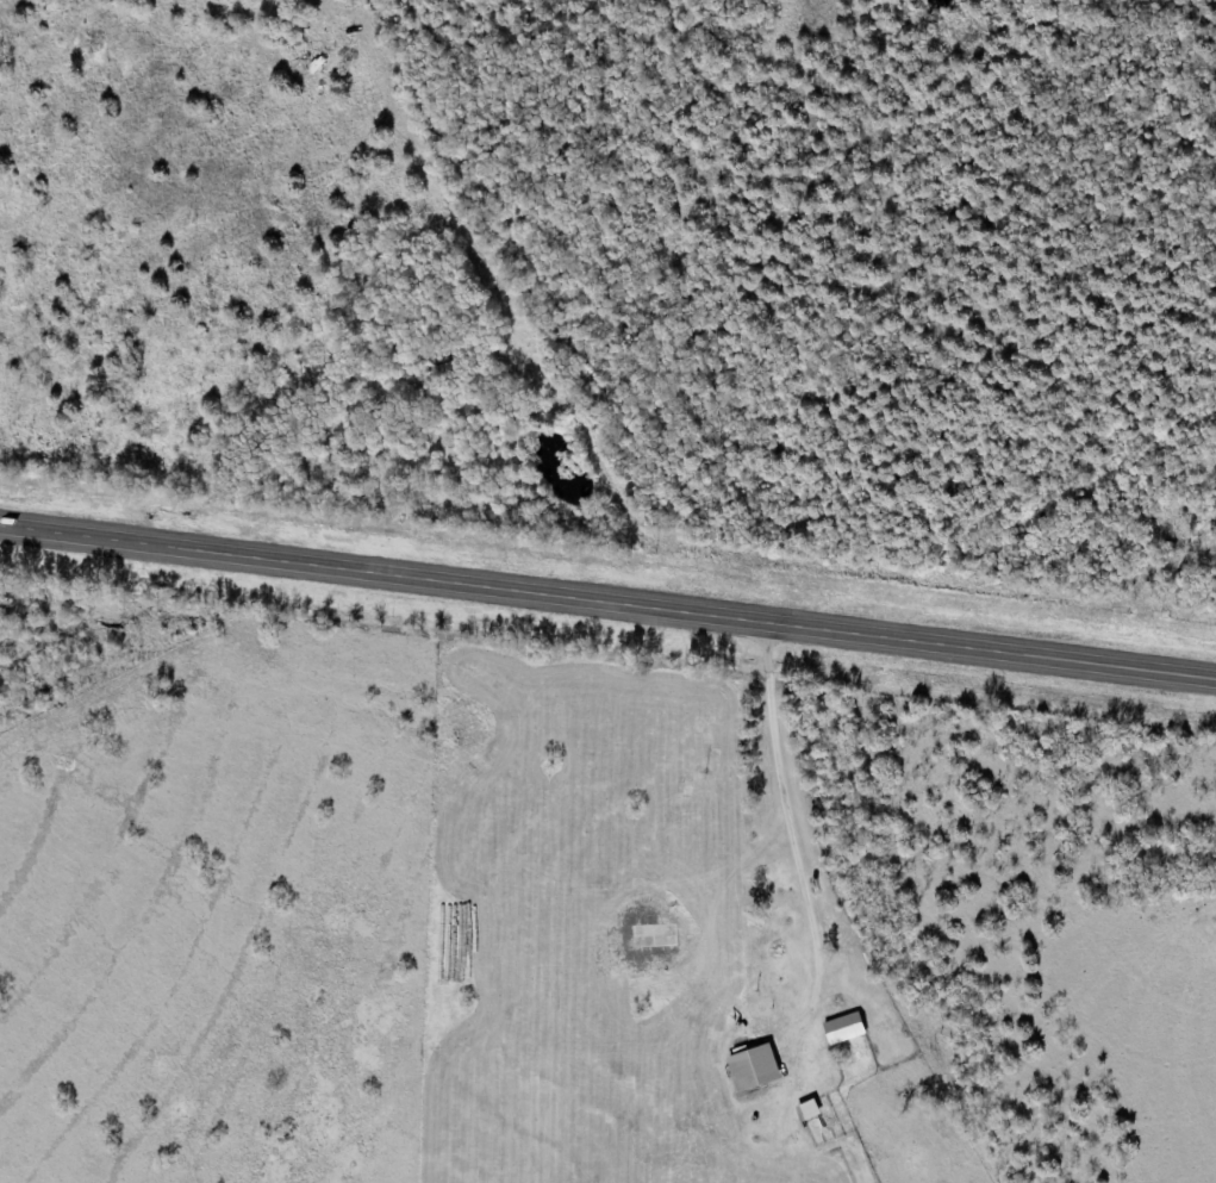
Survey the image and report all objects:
road: (607, 598)
road: (787, 804)
building: (846, 1029)
building: (756, 1069)

